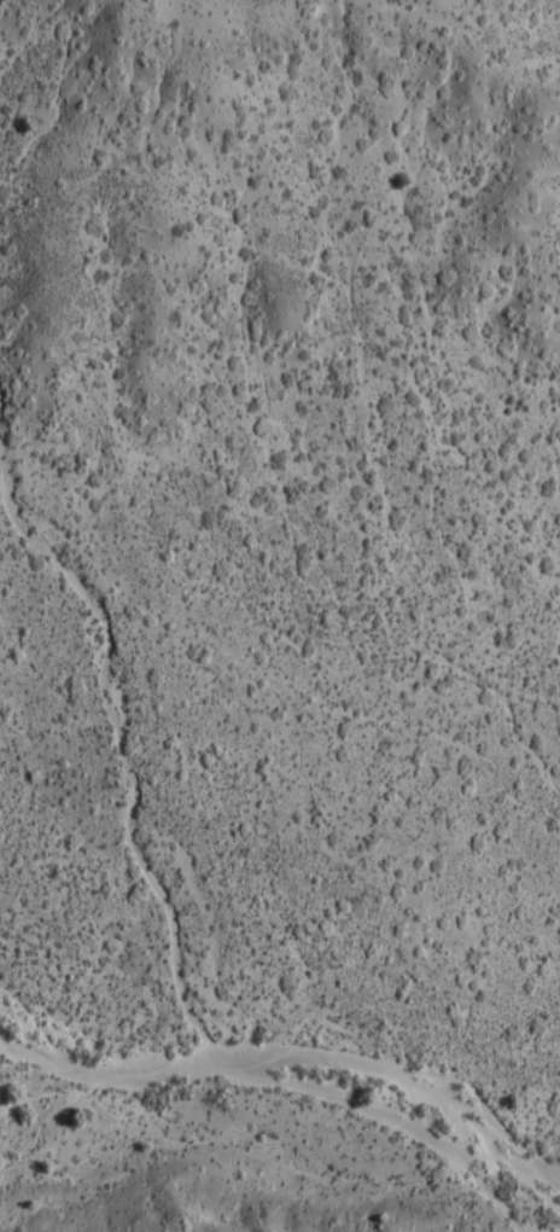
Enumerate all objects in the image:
road: (477, 27)
river: (293, 1058)

